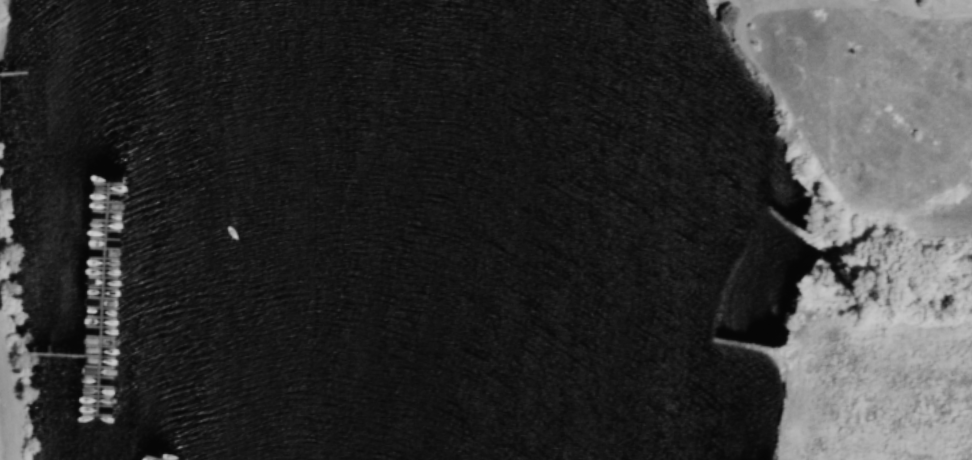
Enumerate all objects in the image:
park: (486, 230)
road: (1, 432)

